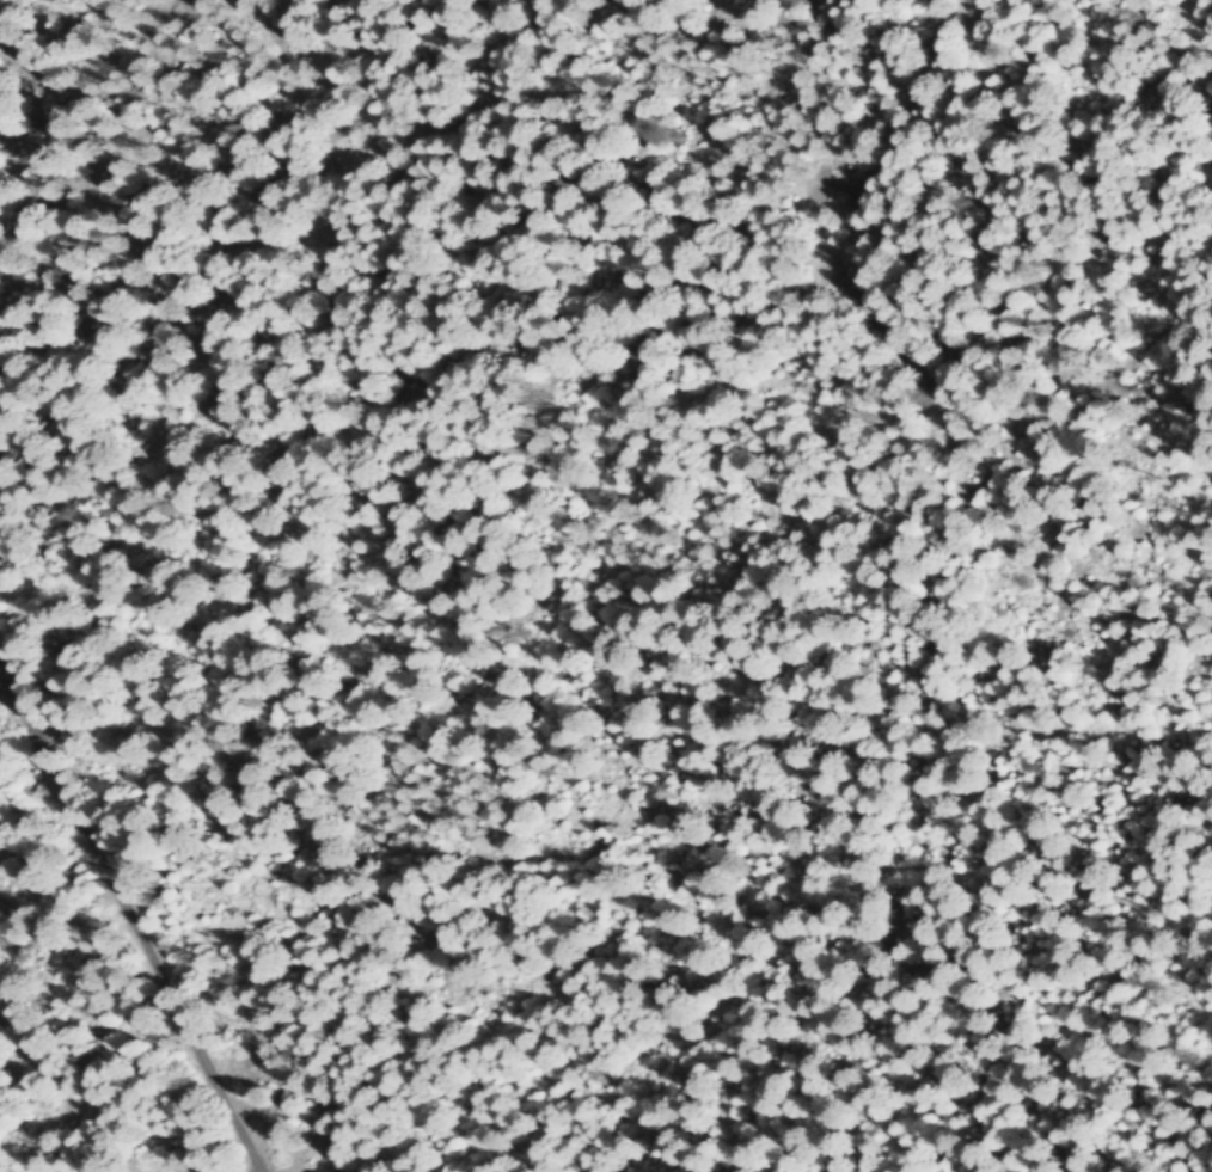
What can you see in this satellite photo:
road: (128, 918)

